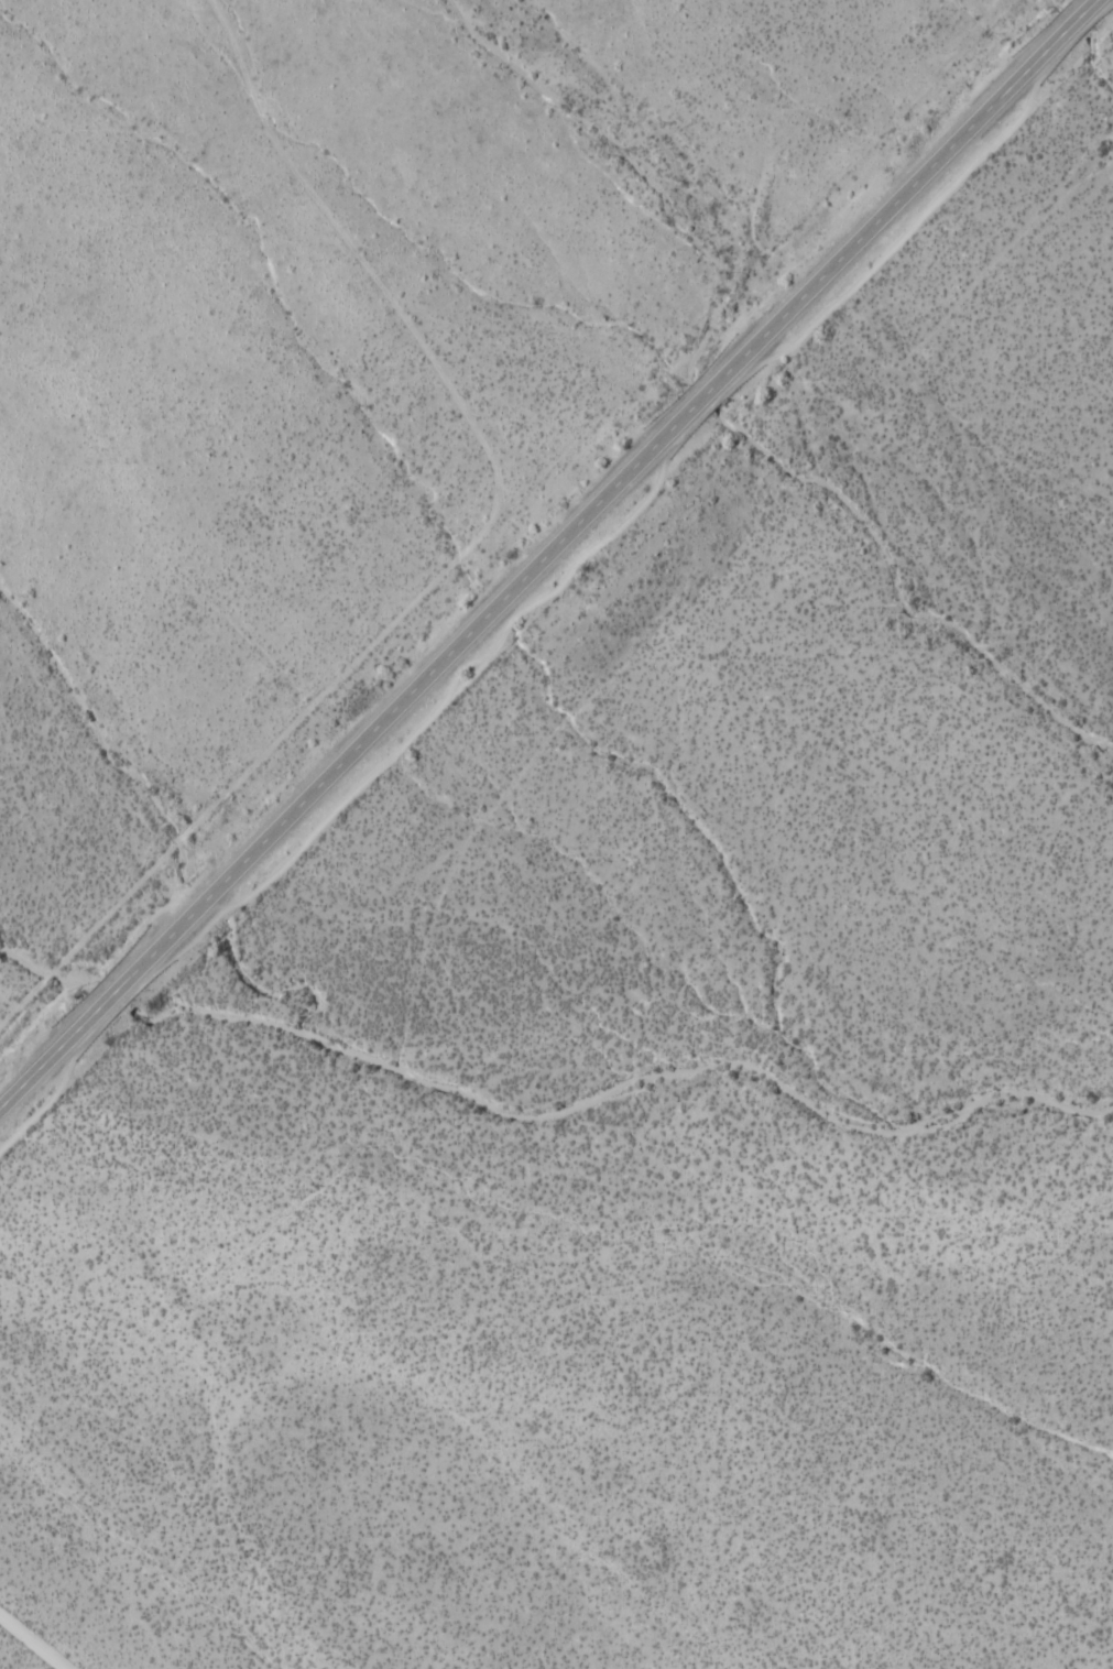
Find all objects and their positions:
road: (545, 550)
road: (456, 557)
road: (33, 1641)

